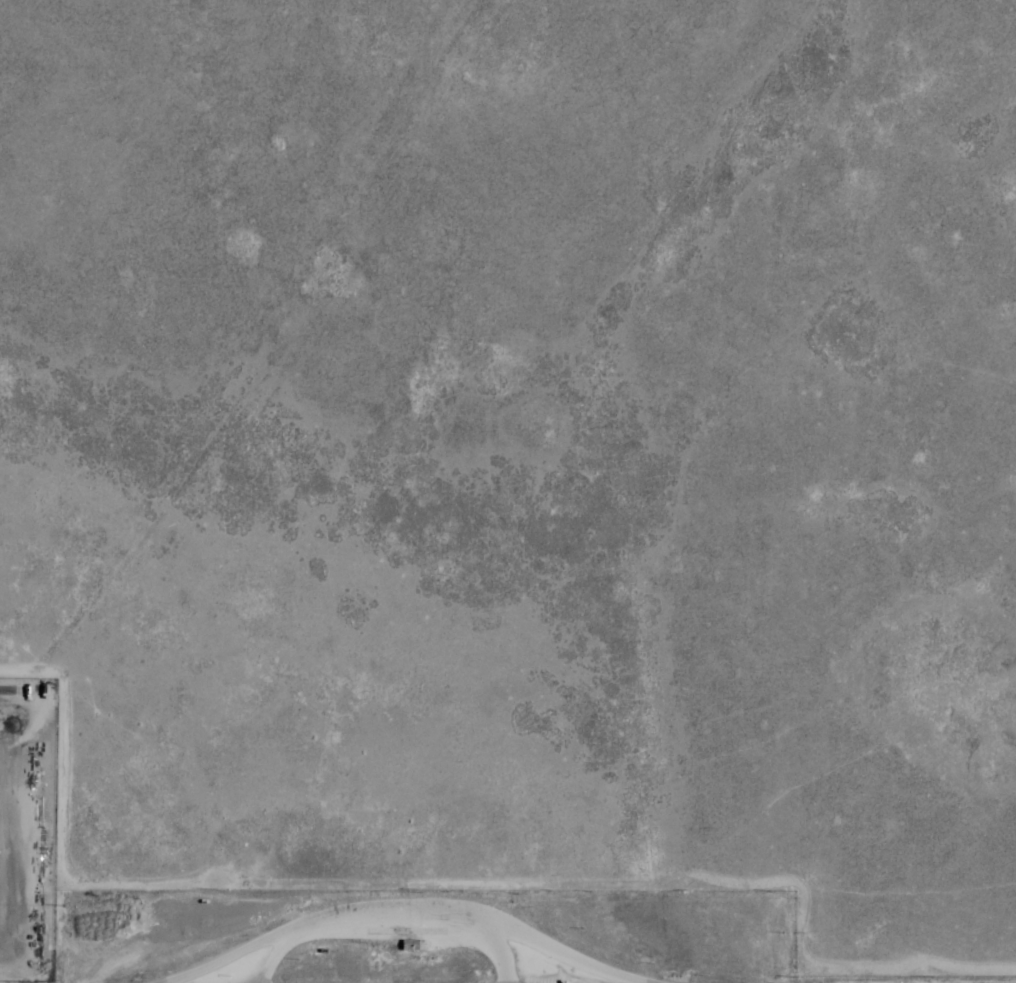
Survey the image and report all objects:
road: (407, 921)
building: (410, 946)
road: (499, 951)
road: (277, 955)

